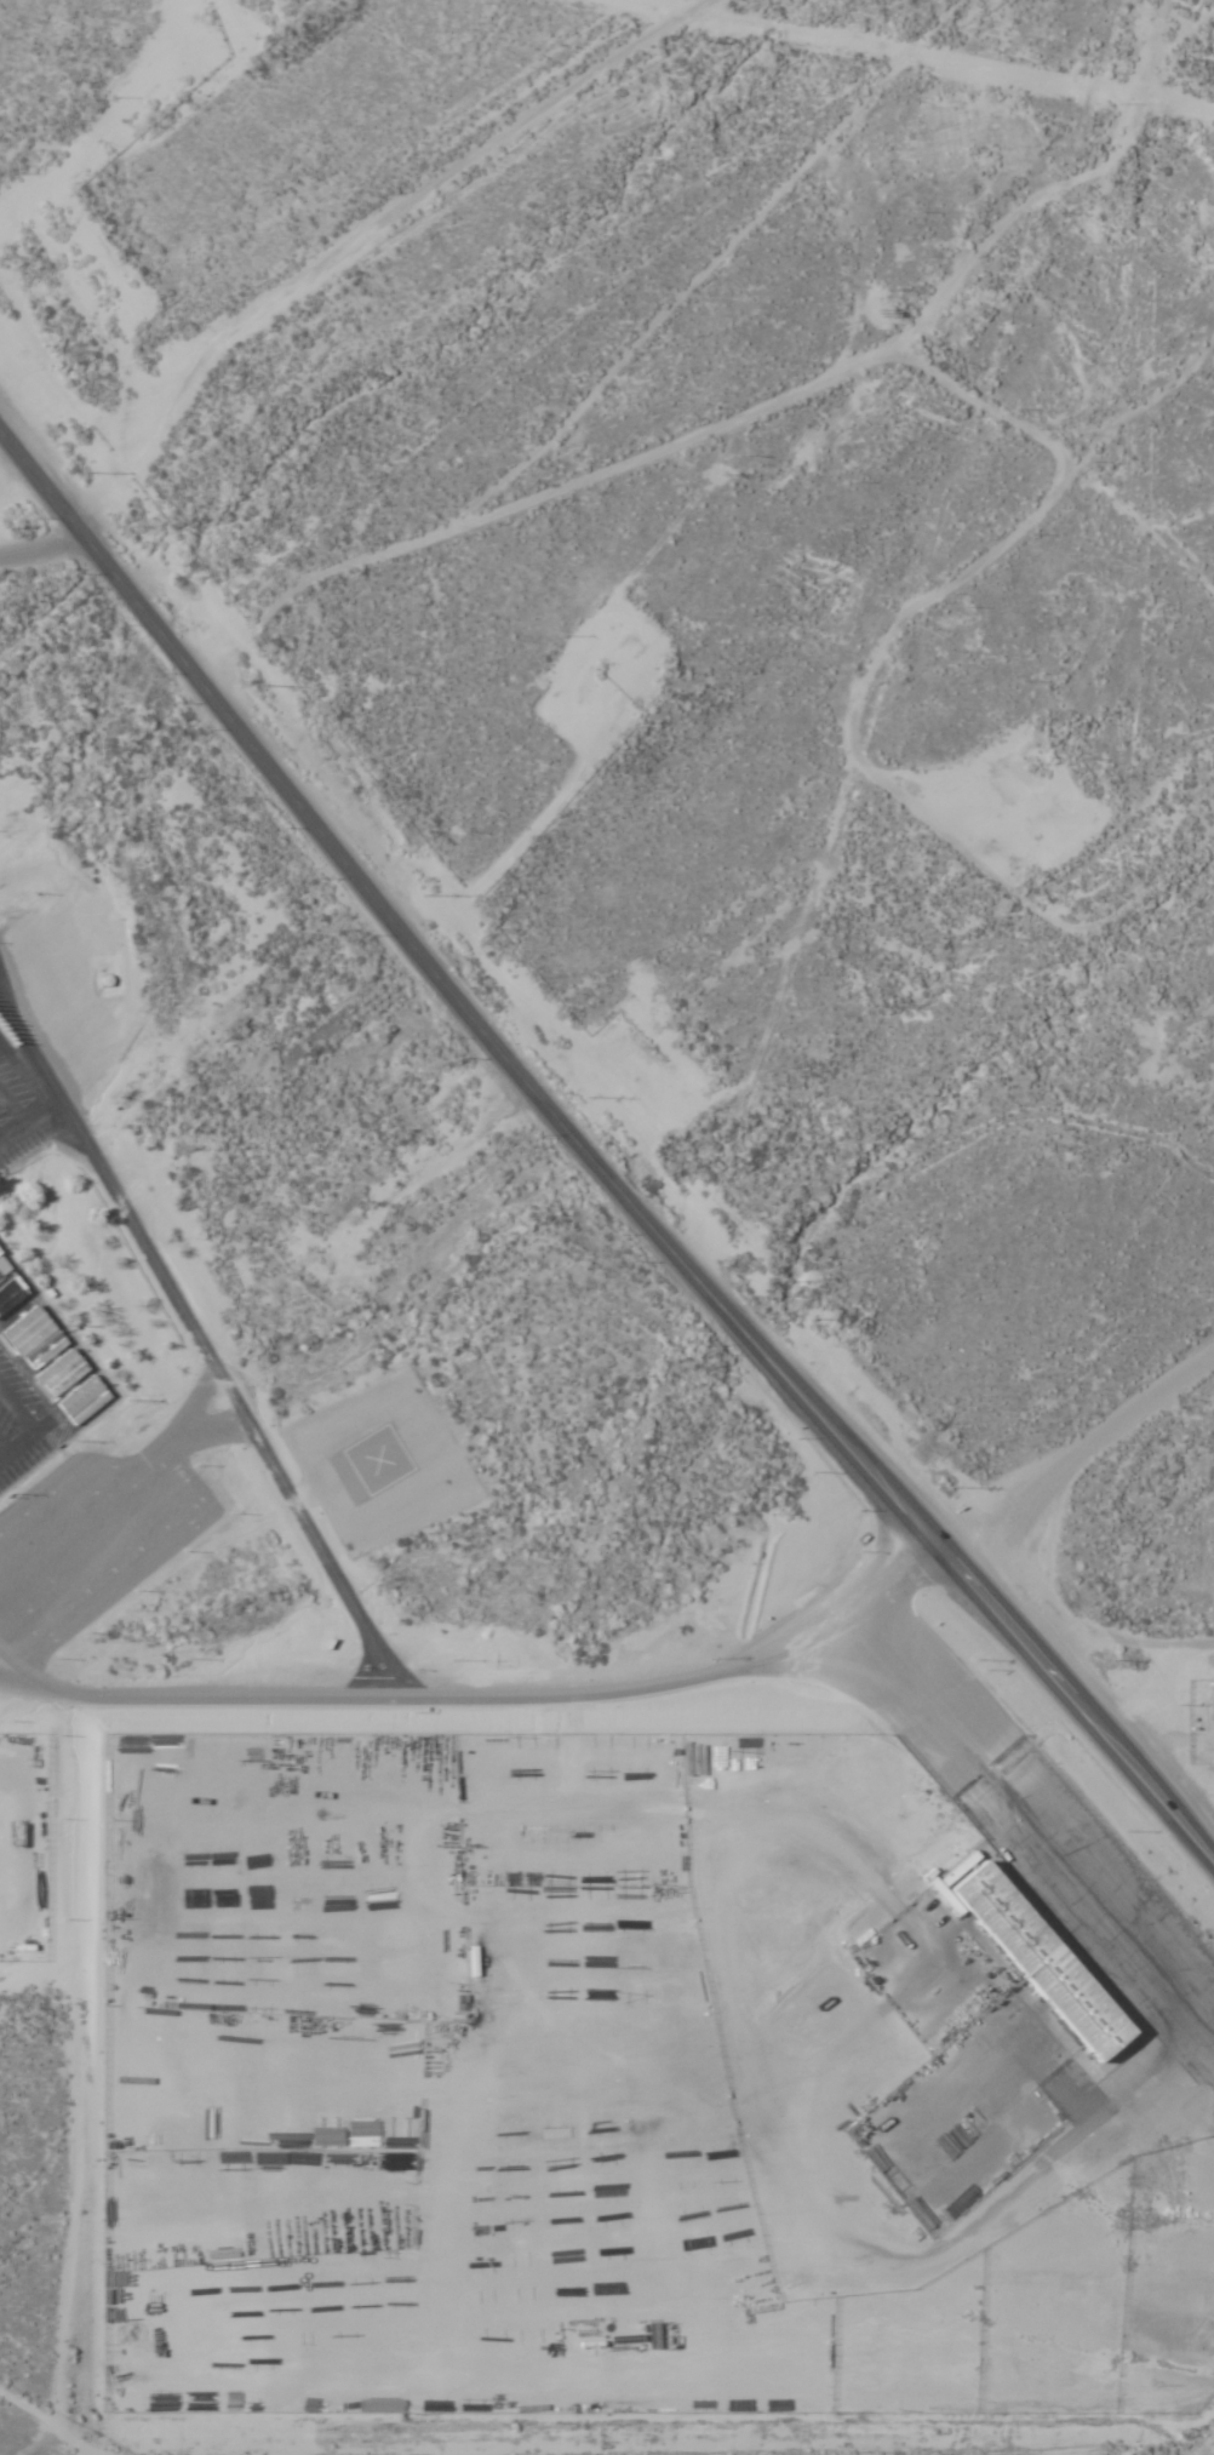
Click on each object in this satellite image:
road: (349, 279)
road: (131, 841)
road: (88, 938)
road: (600, 1175)
building: (10, 1287)
road: (202, 1344)
building: (45, 1351)
building: (84, 1400)
road: (1052, 1478)
road: (989, 1517)
road: (13, 1669)
road: (683, 1679)
road: (194, 1692)
road: (708, 1951)
building: (1027, 1958)
building: (475, 1986)
road: (81, 2061)
road: (59, 2422)

